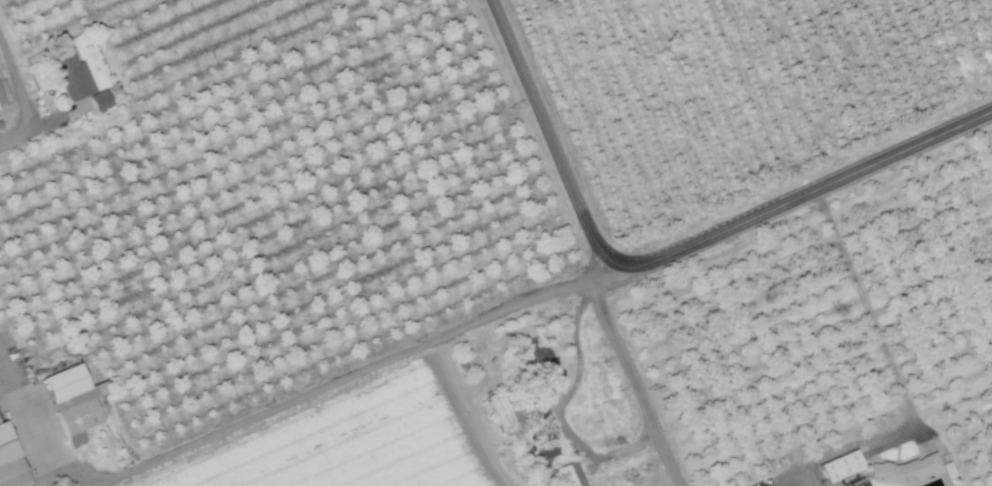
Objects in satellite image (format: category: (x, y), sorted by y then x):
building: (68, 76)
building: (96, 101)
building: (0, 104)
road: (25, 113)
road: (553, 137)
road: (803, 194)
road: (867, 307)
building: (542, 363)
road: (350, 375)
road: (635, 383)
building: (69, 403)
building: (494, 412)
road: (477, 414)
road: (29, 433)
building: (538, 454)
building: (7, 466)
building: (837, 466)
building: (905, 470)
building: (566, 474)
road: (785, 483)

